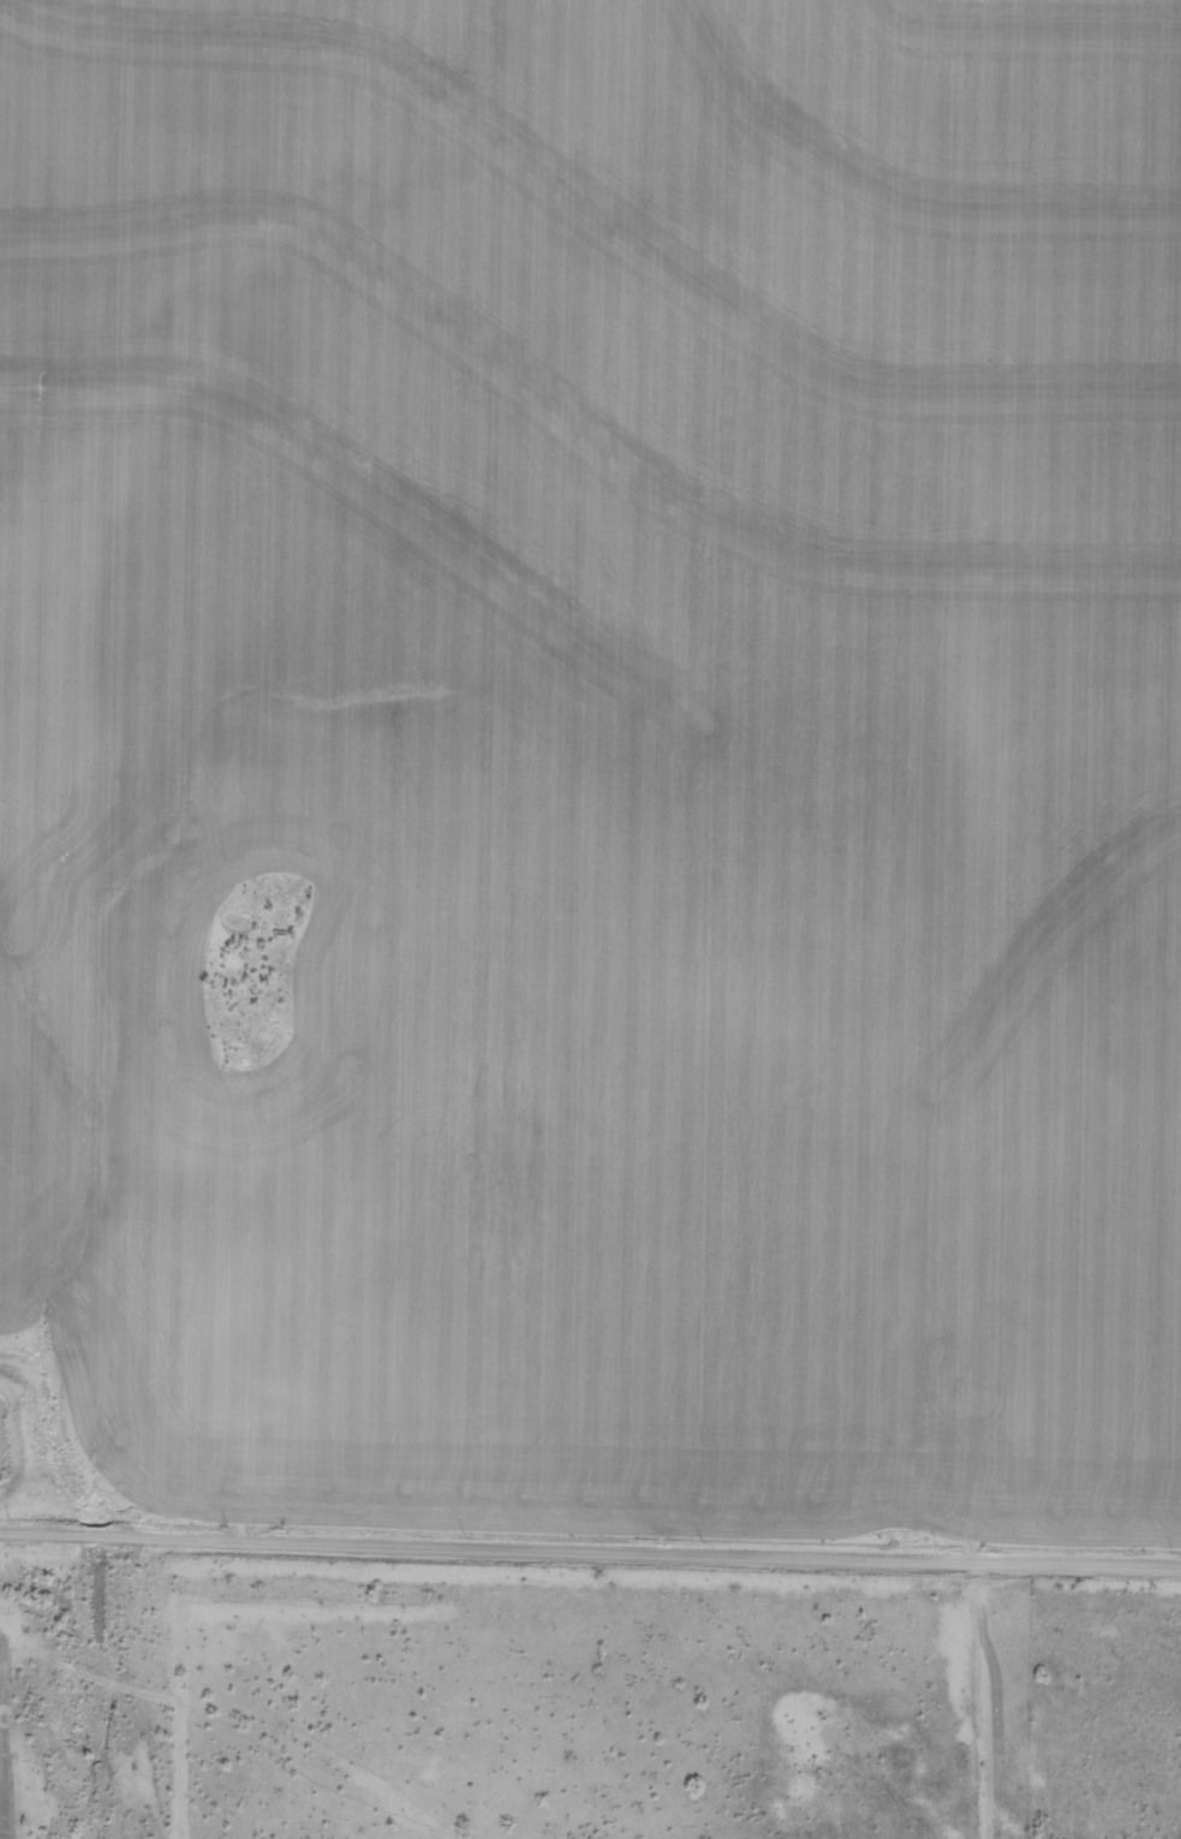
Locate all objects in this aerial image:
road: (590, 1551)
road: (991, 1704)

